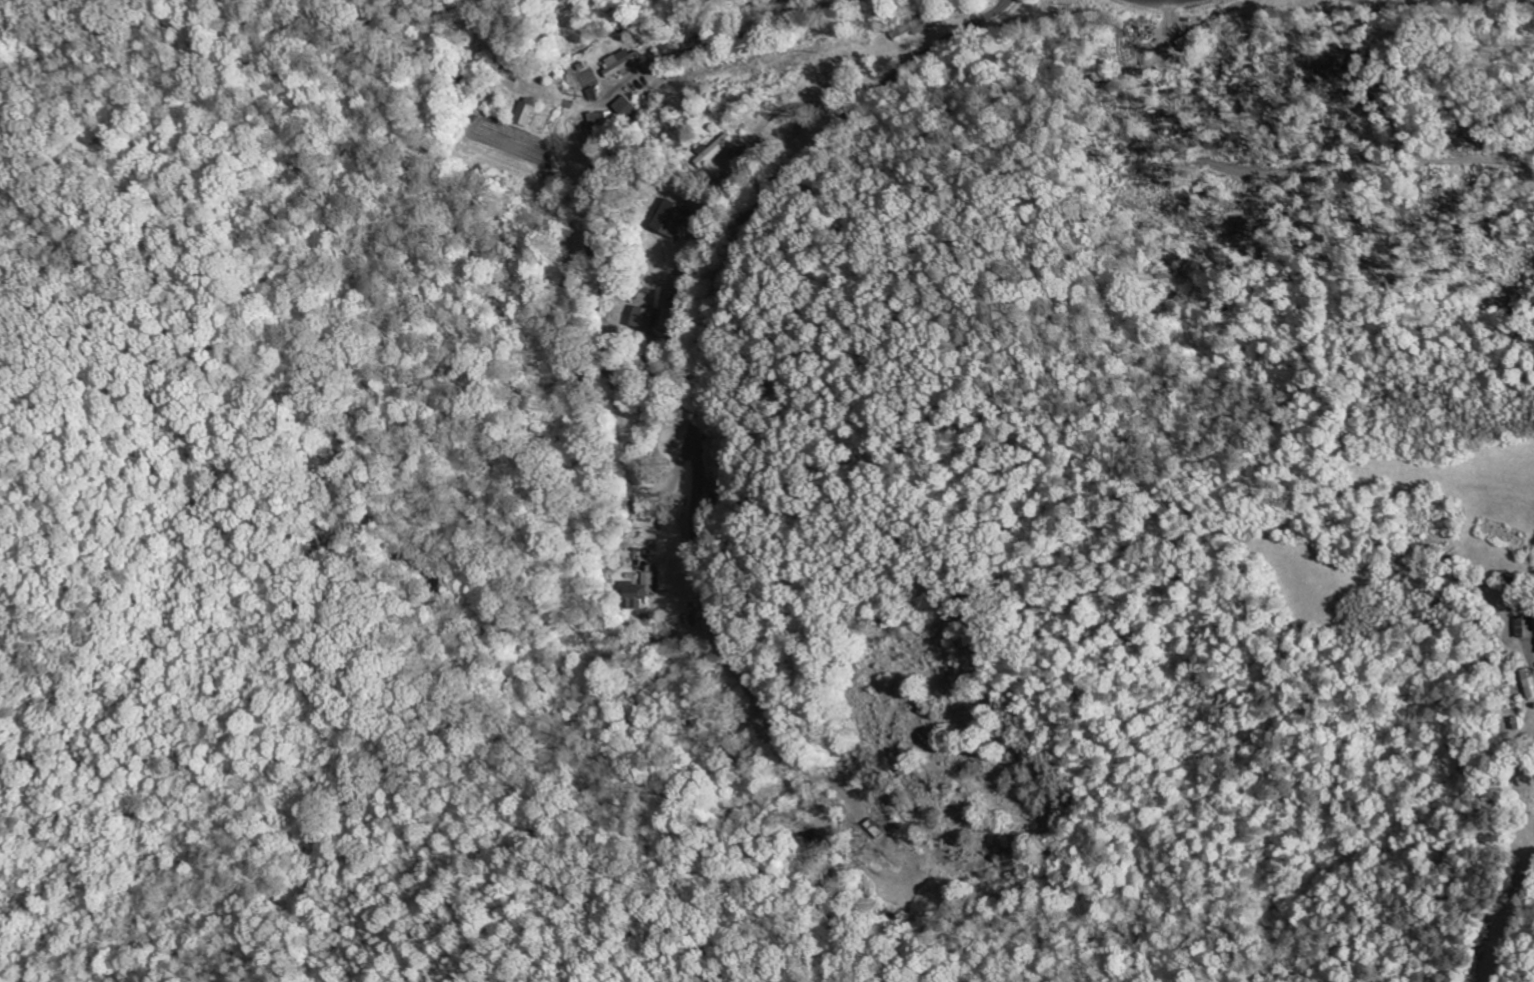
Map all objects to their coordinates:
road: (1158, 1)
road: (751, 32)
building: (620, 64)
building: (625, 109)
building: (524, 114)
building: (599, 121)
building: (718, 151)
road: (762, 202)
building: (672, 220)
building: (642, 319)
building: (670, 321)
building: (635, 593)
building: (1523, 628)

